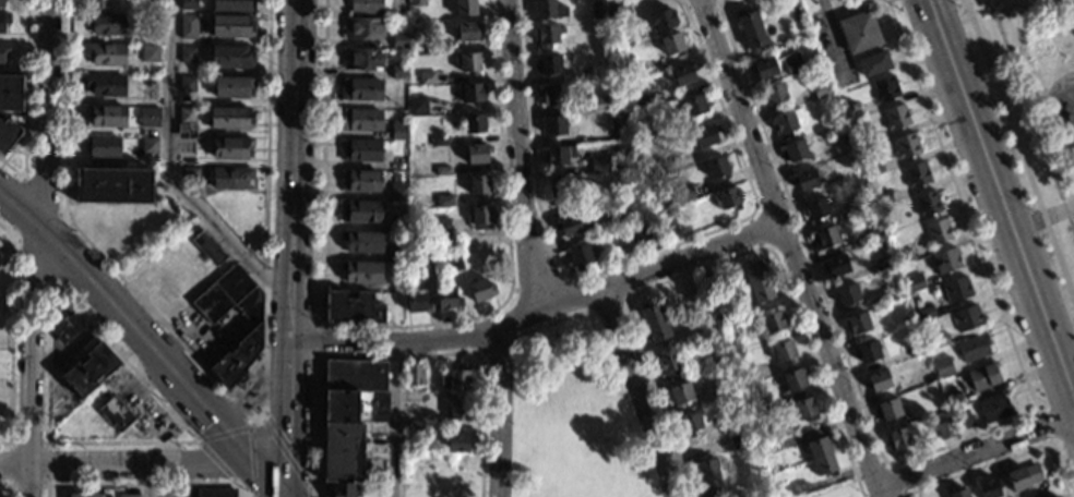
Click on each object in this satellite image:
building: (416, 2)
building: (0, 4)
building: (95, 4)
building: (187, 4)
building: (230, 4)
building: (368, 7)
building: (465, 8)
building: (548, 9)
building: (596, 11)
building: (405, 13)
building: (618, 13)
building: (3, 19)
building: (663, 19)
building: (104, 24)
building: (186, 26)
building: (230, 26)
building: (362, 28)
building: (467, 31)
building: (751, 32)
building: (859, 32)
building: (547, 36)
building: (138, 38)
building: (399, 40)
building: (618, 44)
building: (671, 45)
building: (425, 47)
building: (2, 49)
building: (147, 53)
building: (104, 54)
building: (186, 54)
building: (229, 56)
building: (362, 59)
building: (468, 62)
building: (792, 63)
building: (873, 63)
building: (548, 64)
building: (763, 68)
building: (398, 71)
building: (683, 73)
building: (427, 77)
road: (25, 85)
building: (104, 85)
building: (186, 85)
building: (147, 87)
building: (231, 87)
building: (821, 88)
building: (885, 88)
building: (361, 89)
building: (10, 93)
building: (472, 94)
building: (552, 95)
building: (774, 95)
building: (599, 102)
building: (640, 102)
building: (694, 105)
building: (418, 106)
building: (856, 110)
building: (184, 114)
building: (105, 116)
building: (148, 116)
building: (895, 117)
building: (228, 118)
building: (617, 118)
building: (361, 120)
building: (787, 120)
building: (474, 123)
building: (554, 126)
building: (398, 131)
building: (7, 133)
building: (706, 135)
building: (646, 136)
building: (863, 140)
building: (439, 141)
building: (906, 145)
building: (100, 146)
building: (146, 146)
building: (184, 146)
building: (229, 148)
building: (360, 149)
building: (793, 151)
building: (477, 154)
road: (520, 154)
building: (558, 155)
building: (397, 163)
building: (599, 163)
building: (655, 167)
building: (716, 168)
building: (874, 168)
road: (11, 169)
road: (169, 171)
building: (441, 171)
road: (23, 173)
building: (188, 173)
building: (916, 174)
building: (851, 175)
building: (228, 178)
building: (636, 180)
building: (804, 180)
building: (360, 181)
building: (479, 185)
building: (110, 186)
building: (559, 186)
building: (397, 187)
building: (684, 193)
road: (40, 194)
building: (727, 198)
building: (882, 198)
road: (998, 198)
building: (443, 201)
road: (16, 202)
building: (861, 203)
building: (927, 203)
building: (815, 207)
building: (360, 211)
road: (265, 215)
road: (61, 216)
building: (479, 217)
building: (665, 218)
road: (1041, 218)
building: (616, 220)
building: (397, 223)
building: (574, 223)
building: (441, 228)
road: (10, 230)
building: (643, 231)
building: (938, 231)
road: (9, 232)
building: (872, 232)
building: (826, 237)
road: (84, 239)
building: (361, 242)
road: (53, 245)
building: (453, 246)
road: (34, 247)
building: (206, 247)
road: (290, 248)
road: (788, 248)
building: (395, 254)
building: (580, 255)
building: (904, 256)
building: (0, 257)
road: (33, 259)
building: (945, 260)
building: (0, 262)
building: (456, 262)
building: (883, 263)
building: (426, 265)
building: (835, 266)
building: (362, 272)
road: (637, 275)
building: (709, 280)
building: (757, 282)
building: (914, 282)
building: (691, 289)
building: (956, 289)
building: (480, 290)
building: (847, 294)
building: (448, 298)
building: (417, 302)
building: (353, 307)
building: (924, 312)
building: (967, 317)
building: (774, 322)
road: (127, 323)
building: (858, 323)
building: (654, 324)
building: (256, 326)
building: (64, 327)
road: (394, 340)
building: (938, 340)
road: (10, 342)
building: (974, 347)
building: (916, 349)
building: (735, 350)
building: (783, 351)
building: (867, 351)
road: (122, 360)
road: (48, 361)
building: (716, 361)
building: (669, 364)
building: (942, 367)
building: (87, 369)
building: (413, 374)
building: (744, 376)
building: (982, 376)
building: (453, 378)
building: (793, 378)
building: (878, 380)
building: (726, 387)
building: (355, 391)
road: (637, 392)
building: (680, 395)
building: (414, 396)
building: (954, 399)
building: (754, 407)
building: (994, 408)
building: (804, 409)
building: (887, 409)
building: (457, 411)
road: (498, 413)
building: (115, 415)
park: (572, 415)
road: (395, 419)
traffic signals: (214, 420)
building: (962, 420)
building: (690, 424)
building: (414, 426)
building: (945, 429)
road: (223, 431)
building: (763, 434)
building: (899, 438)
building: (738, 439)
road: (121, 441)
traffic signals: (287, 441)
building: (458, 441)
road: (975, 451)
building: (343, 452)
building: (821, 453)
road: (287, 457)
road: (251, 459)
road: (216, 462)
road: (139, 463)
road: (13, 464)
road: (871, 470)
building: (1024, 475)
road: (267, 477)
building: (708, 477)
road: (146, 480)
road: (144, 485)
road: (46, 486)
road: (7, 487)
building: (989, 487)
road: (830, 488)
building: (345, 489)
building: (958, 492)
building: (215, 493)
building: (86, 494)
building: (127, 495)
building: (323, 496)

